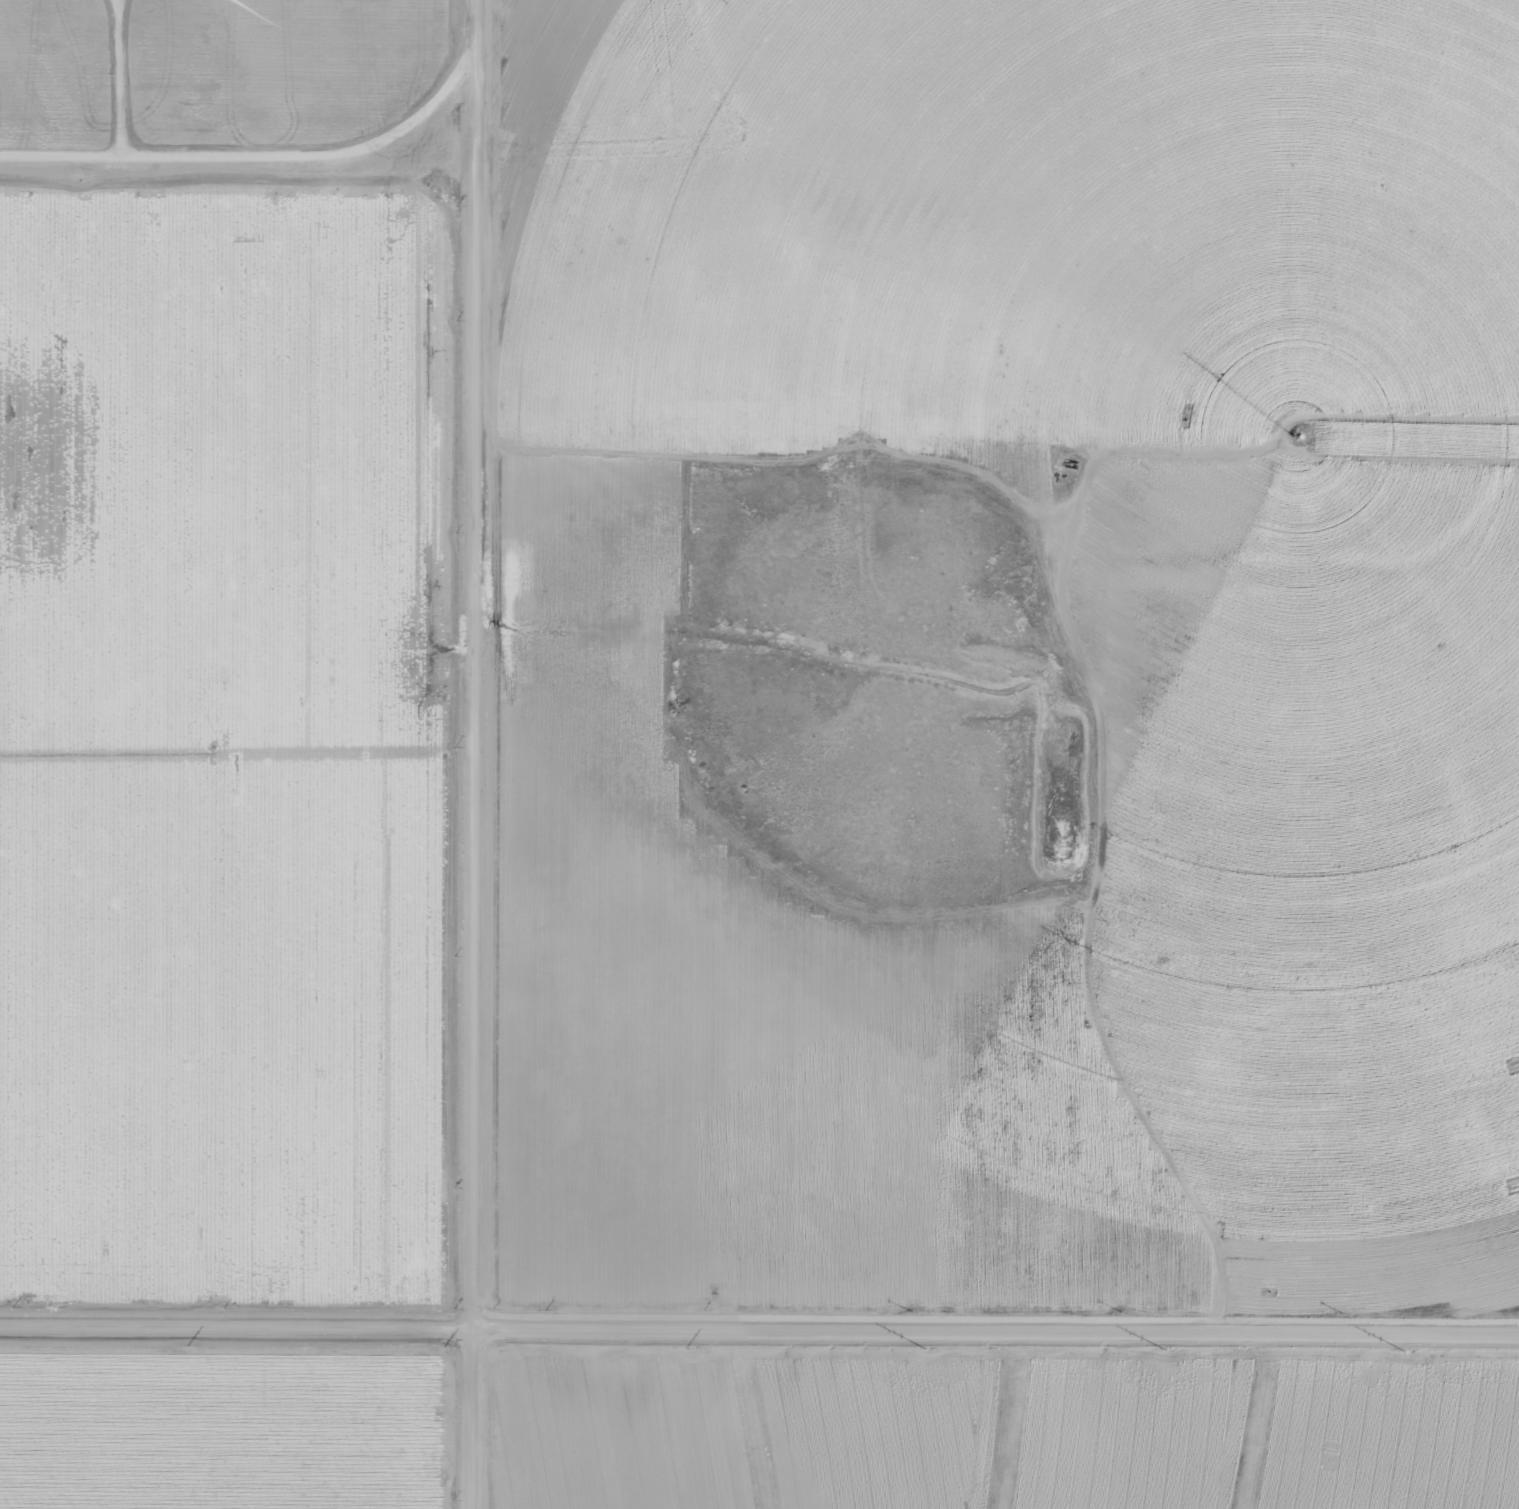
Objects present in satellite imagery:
road: (478, 754)
road: (759, 1334)

